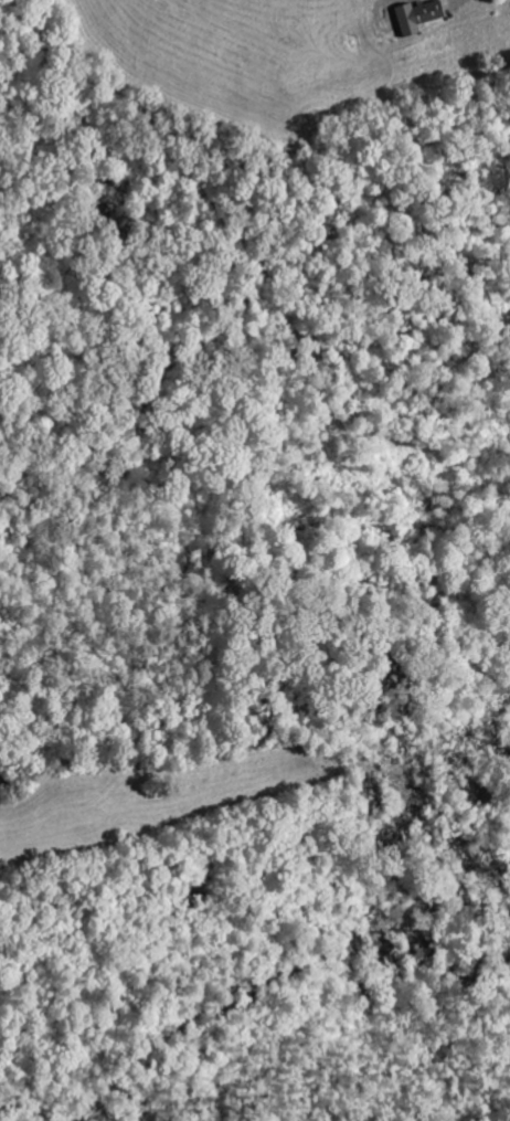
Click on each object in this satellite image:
building: (422, 17)

